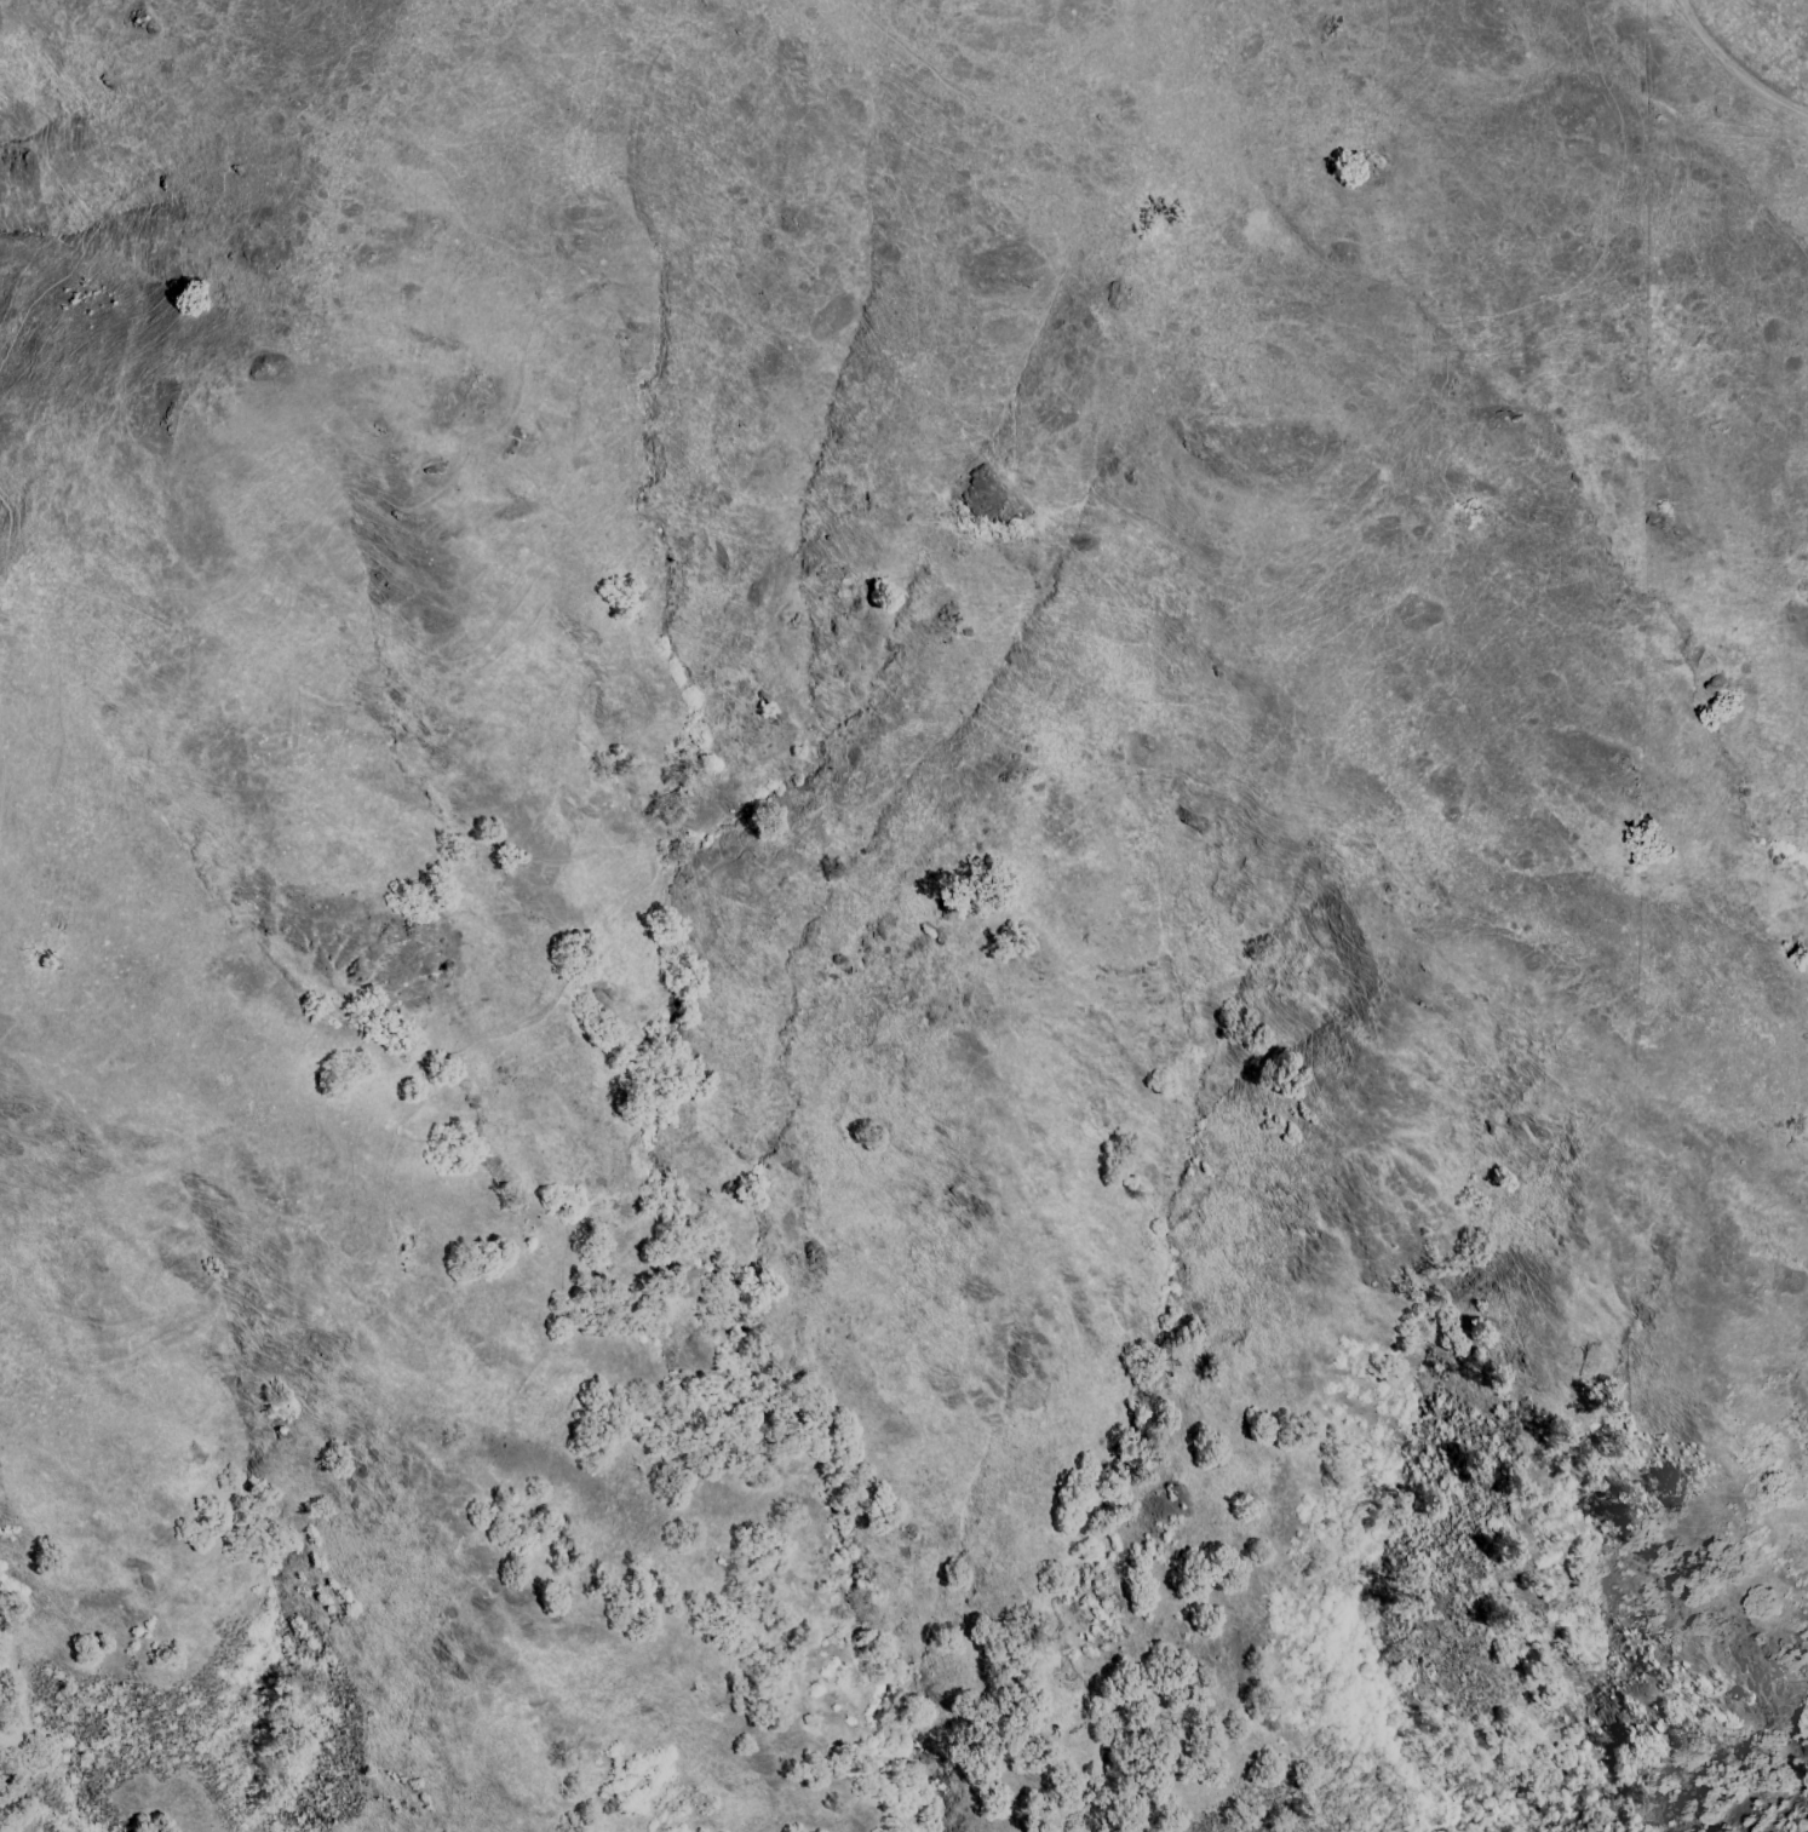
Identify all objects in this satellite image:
road: (1740, 64)

